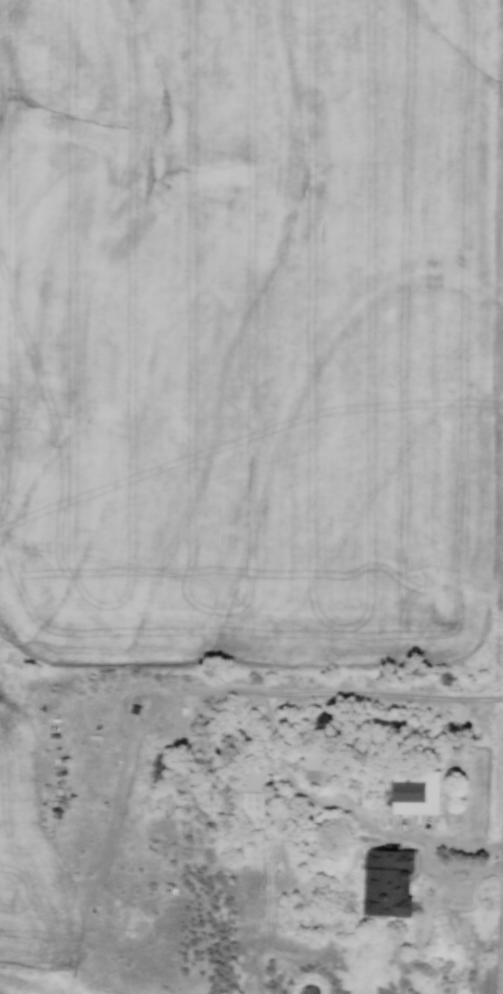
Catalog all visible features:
building: (321, 762)
building: (255, 791)
building: (417, 792)
building: (389, 883)

